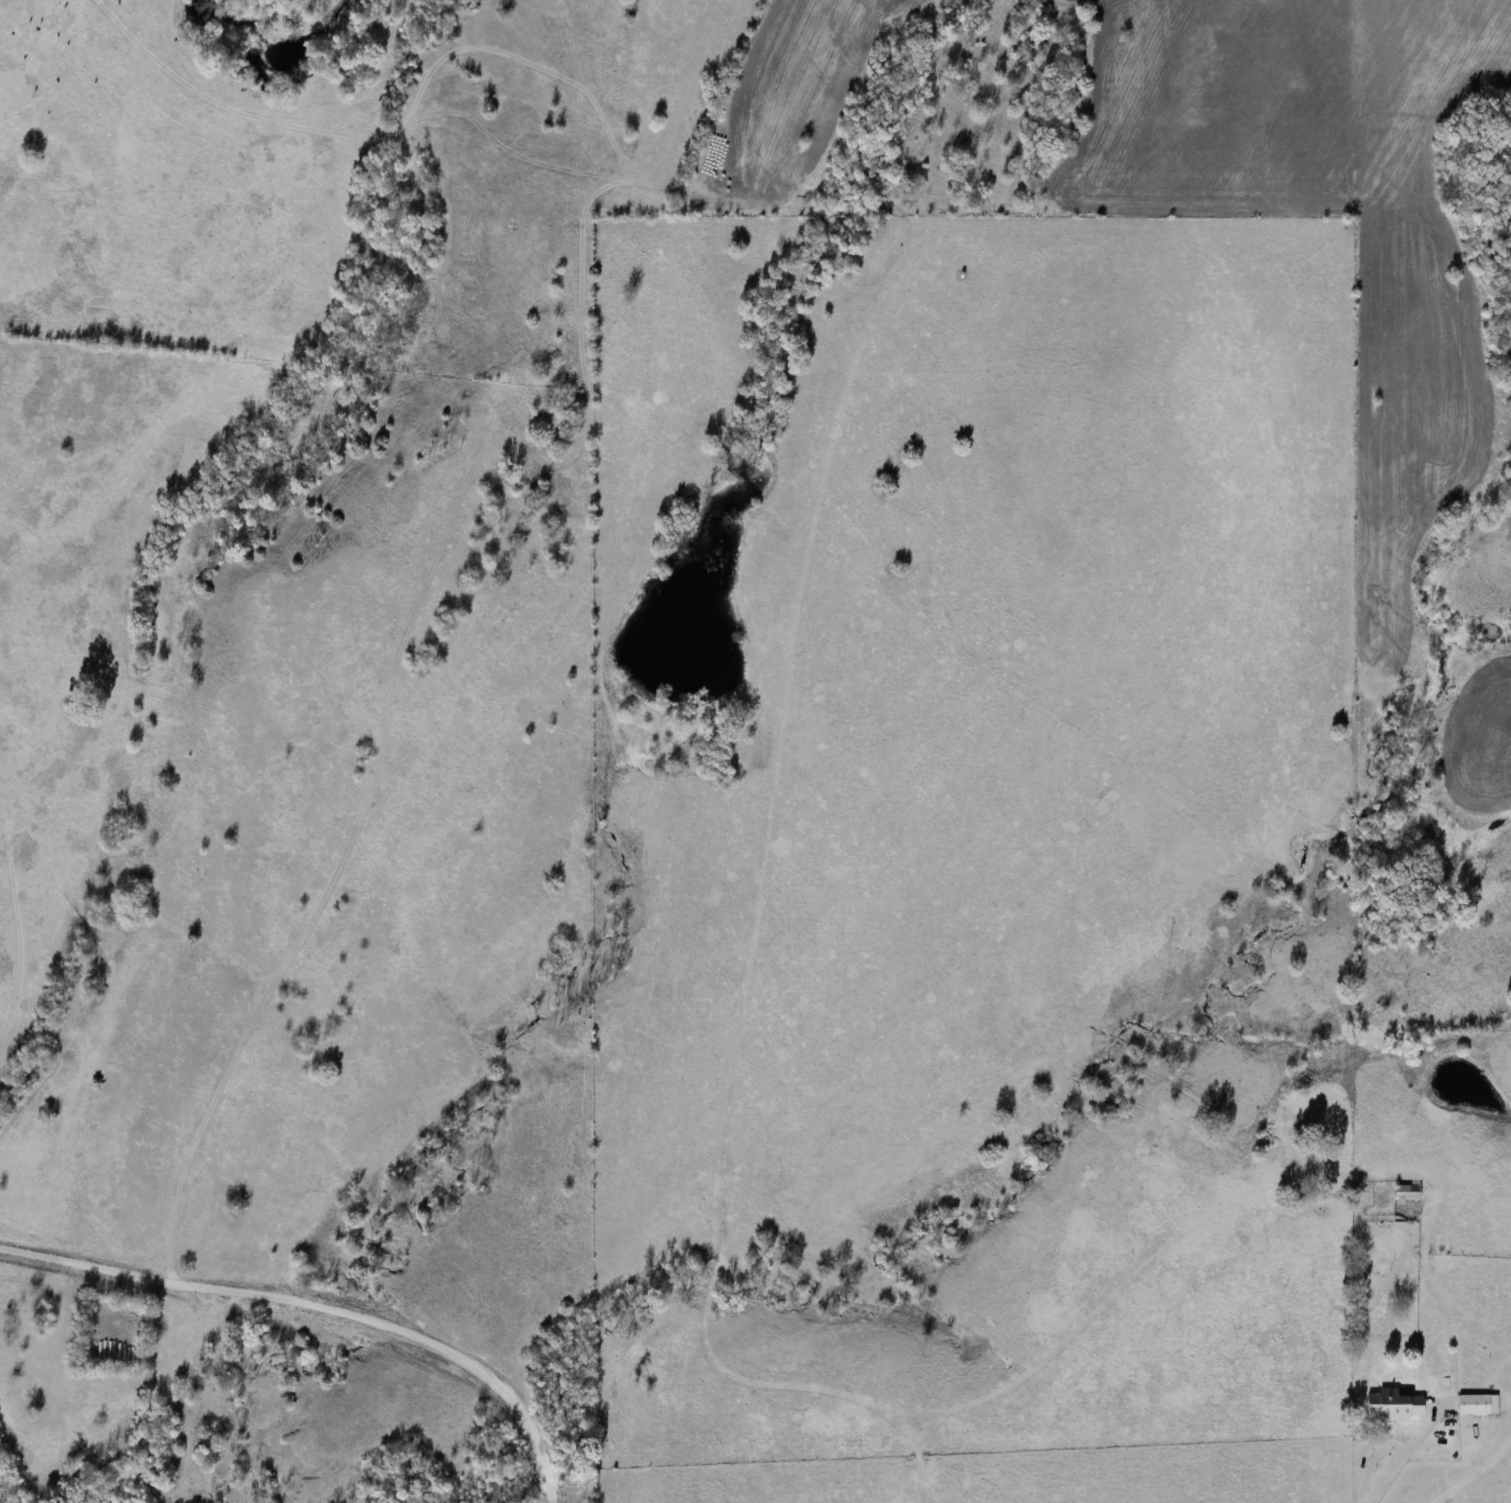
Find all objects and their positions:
building: (1407, 1192)
building: (1478, 1404)
building: (1393, 1405)
road: (1391, 1445)

